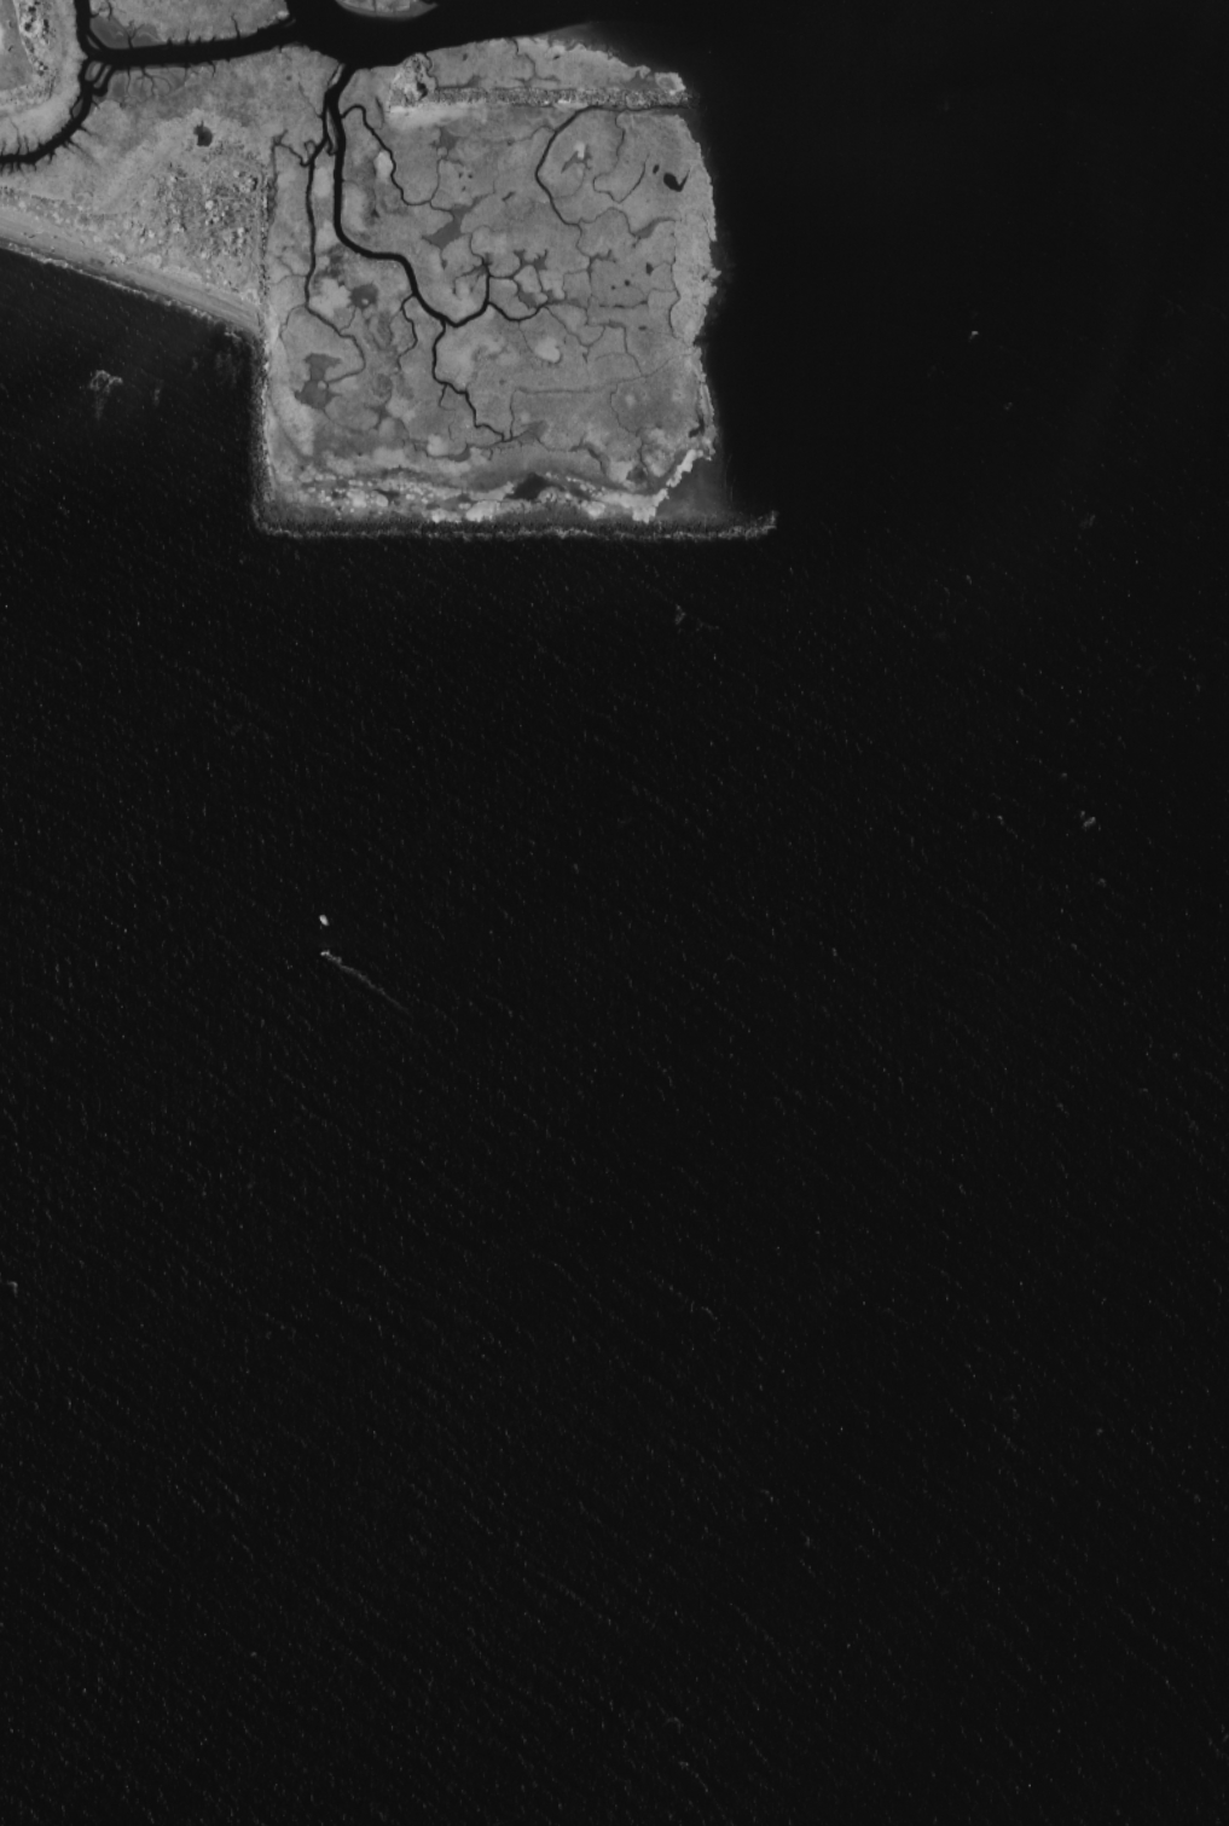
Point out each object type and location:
park: (24, 47)
park: (109, 265)

